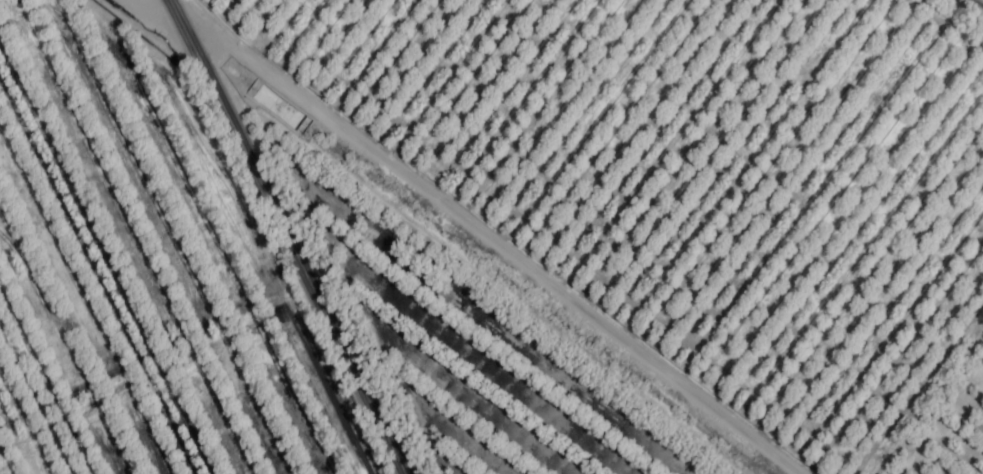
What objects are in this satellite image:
road: (976, 5)
road: (284, 237)
road: (480, 239)
road: (465, 269)

